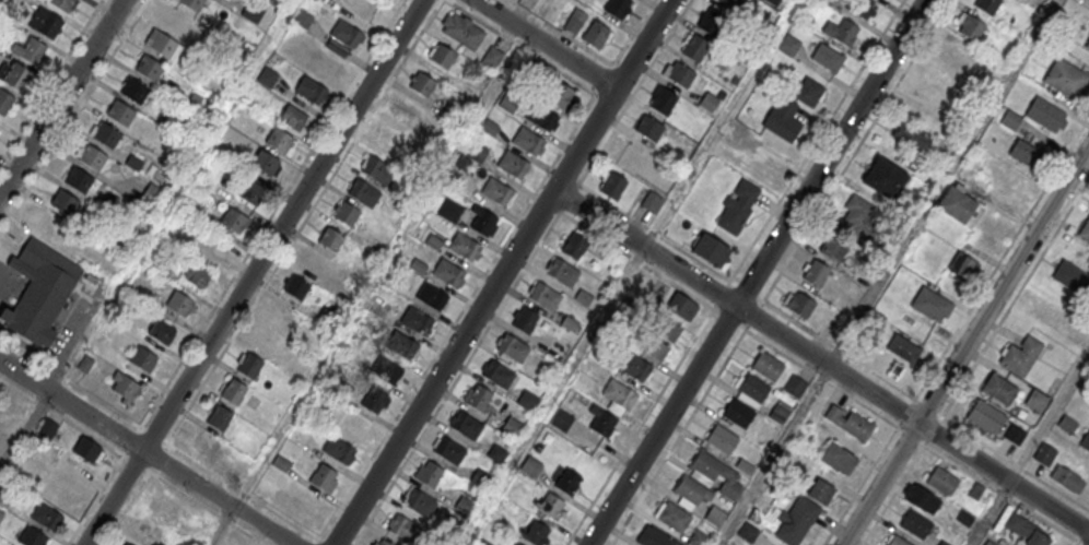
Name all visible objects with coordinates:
building: (7, 0)
building: (829, 0)
building: (323, 1)
building: (733, 3)
building: (63, 4)
building: (192, 4)
building: (987, 4)
building: (617, 7)
building: (859, 7)
building: (253, 11)
building: (303, 17)
building: (574, 21)
building: (177, 22)
building: (711, 22)
building: (46, 23)
building: (970, 25)
building: (462, 29)
building: (842, 31)
building: (347, 34)
building: (597, 34)
building: (163, 44)
road: (544, 44)
building: (789, 44)
building: (1087, 44)
building: (695, 48)
building: (30, 50)
building: (955, 51)
building: (442, 56)
building: (493, 57)
building: (828, 57)
building: (327, 60)
building: (149, 68)
building: (679, 74)
building: (267, 76)
building: (1066, 79)
road: (50, 81)
building: (422, 83)
building: (309, 90)
building: (134, 91)
building: (809, 91)
building: (559, 94)
road: (61, 98)
building: (663, 100)
building: (5, 102)
building: (405, 110)
building: (120, 112)
building: (449, 114)
building: (1045, 114)
road: (72, 117)
building: (541, 117)
building: (293, 118)
building: (783, 118)
building: (1010, 119)
building: (649, 128)
building: (106, 135)
building: (912, 135)
building: (387, 139)
building: (280, 141)
building: (528, 141)
building: (629, 152)
building: (1024, 152)
building: (92, 157)
building: (265, 163)
building: (513, 164)
road: (846, 164)
building: (377, 169)
building: (764, 176)
building: (883, 178)
building: (78, 180)
building: (612, 185)
building: (249, 191)
building: (497, 191)
building: (363, 192)
building: (152, 196)
building: (651, 201)
building: (65, 202)
building: (956, 204)
building: (737, 206)
road: (613, 208)
building: (449, 211)
building: (347, 213)
building: (862, 217)
building: (234, 220)
building: (483, 222)
building: (50, 224)
building: (1085, 230)
road: (295, 235)
building: (331, 238)
building: (574, 245)
building: (464, 246)
building: (216, 248)
building: (833, 248)
building: (710, 249)
road: (636, 260)
building: (312, 261)
building: (963, 266)
road: (487, 270)
road: (253, 272)
building: (448, 272)
road: (502, 272)
building: (563, 272)
road: (756, 272)
building: (816, 272)
building: (197, 274)
building: (1072, 277)
road: (731, 283)
parking lot: (11, 285)
building: (297, 287)
building: (39, 289)
building: (431, 296)
building: (543, 296)
building: (179, 303)
building: (799, 303)
building: (930, 304)
building: (681, 306)
building: (279, 312)
road: (1006, 312)
building: (525, 319)
building: (418, 320)
building: (666, 329)
building: (830, 329)
building: (161, 330)
building: (266, 339)
building: (403, 345)
road: (964, 345)
building: (558, 346)
road: (772, 346)
building: (903, 347)
building: (512, 348)
building: (654, 348)
building: (1020, 356)
building: (143, 358)
road: (820, 360)
building: (249, 365)
building: (766, 366)
building: (635, 367)
building: (297, 368)
building: (389, 370)
building: (497, 375)
road: (70, 380)
building: (795, 384)
building: (752, 388)
building: (999, 389)
building: (234, 391)
building: (619, 394)
building: (477, 395)
building: (374, 400)
building: (527, 401)
building: (1035, 401)
road: (649, 411)
building: (737, 413)
building: (778, 413)
building: (985, 416)
building: (220, 417)
building: (561, 419)
building: (601, 419)
building: (850, 422)
building: (355, 424)
building: (467, 425)
road: (75, 426)
building: (511, 426)
building: (46, 428)
building: (1015, 434)
building: (721, 439)
building: (1085, 441)
building: (203, 442)
road: (1029, 448)
building: (339, 449)
building: (86, 450)
road: (145, 452)
building: (452, 452)
building: (496, 453)
building: (1044, 453)
road: (772, 454)
building: (839, 458)
building: (530, 466)
building: (73, 471)
building: (428, 472)
building: (716, 472)
building: (325, 477)
building: (481, 478)
building: (1067, 478)
building: (941, 481)
building: (567, 483)
building: (691, 488)
building: (820, 489)
building: (974, 490)
building: (61, 491)
road: (134, 494)
road: (999, 494)
road: (892, 495)
building: (921, 498)
road: (195, 499)
building: (164, 505)
building: (423, 505)
building: (551, 506)
building: (1, 514)
building: (45, 516)
building: (715, 516)
building: (672, 517)
building: (965, 519)
building: (796, 520)
building: (915, 523)
building: (402, 529)
building: (1026, 530)
building: (149, 531)
building: (748, 532)
building: (537, 533)
building: (32, 537)
building: (699, 537)
building: (657, 538)
building: (895, 541)
road: (1078, 542)
building: (383, 543)
building: (942, 543)
building: (988, 543)
building: (12, 544)
building: (128, 544)
building: (516, 544)

